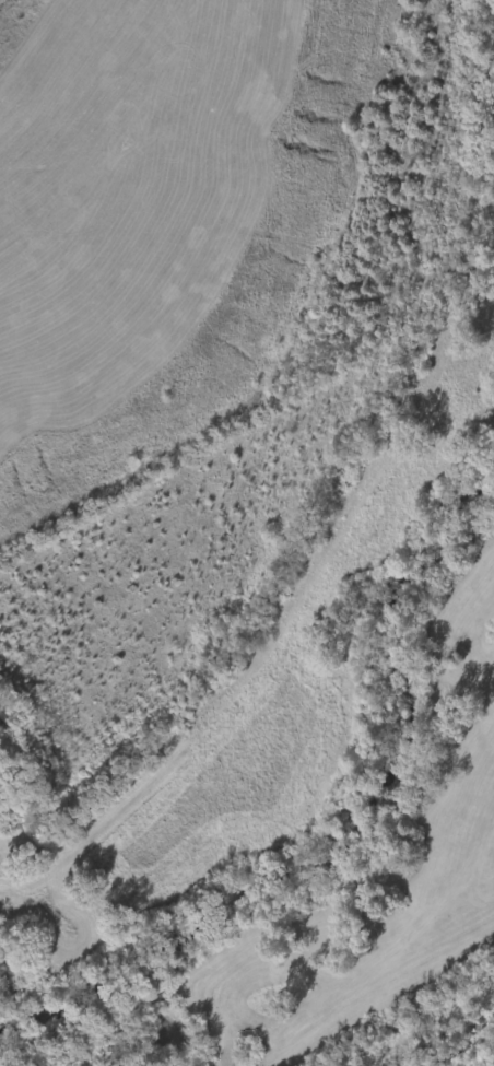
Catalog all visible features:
road: (289, 629)
road: (426, 1026)

